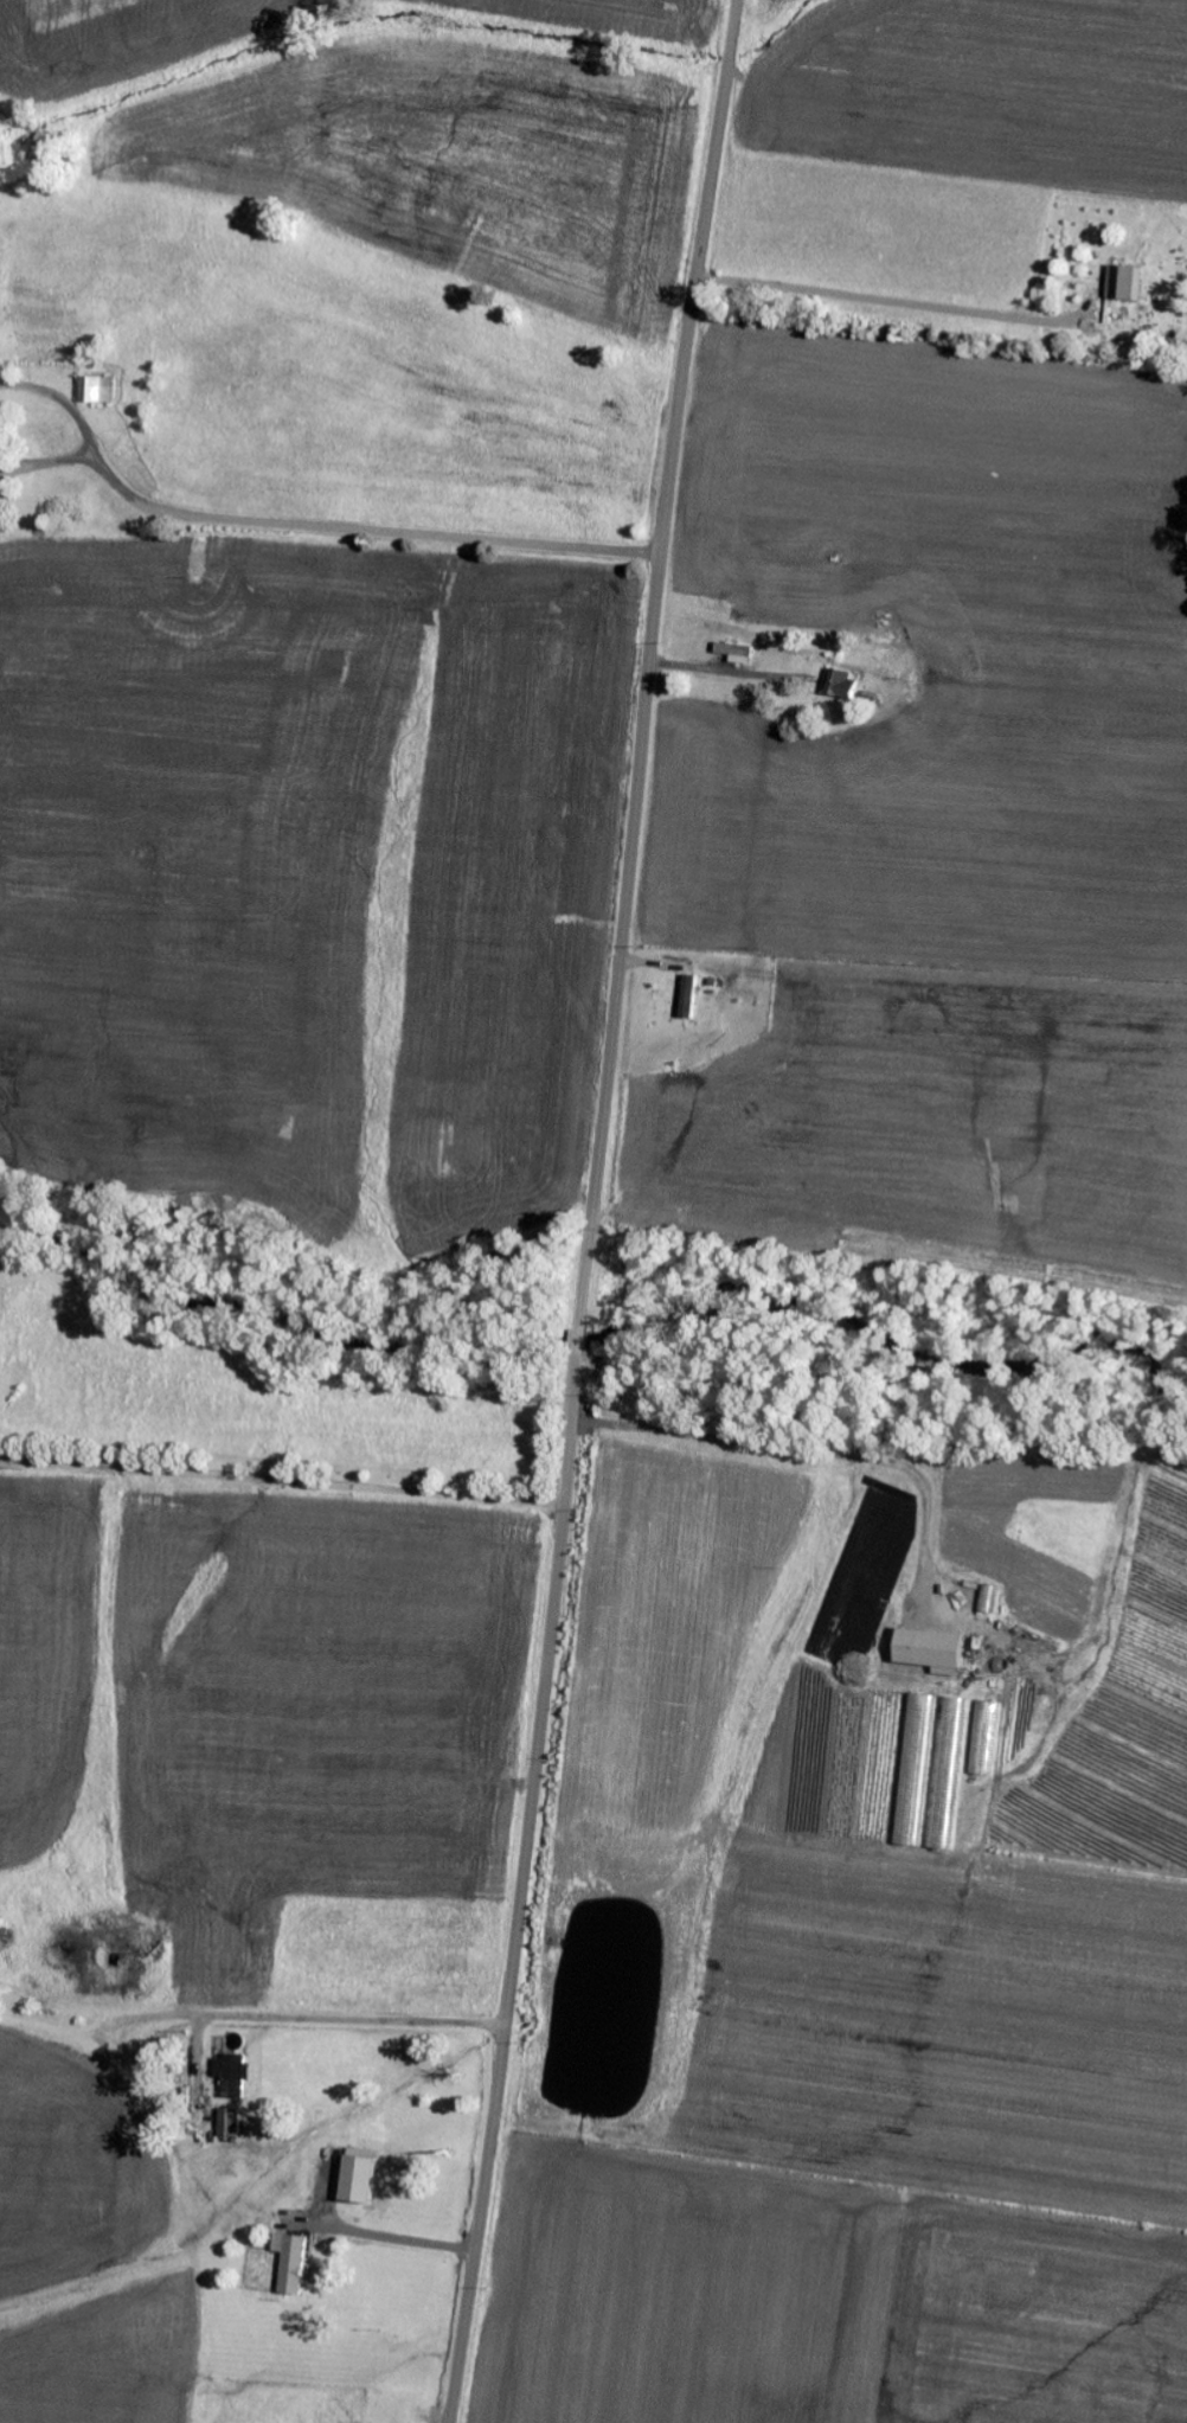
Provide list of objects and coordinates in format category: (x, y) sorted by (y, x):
building: (1118, 282)
building: (94, 390)
building: (733, 653)
building: (686, 996)
road: (590, 1211)
building: (947, 1775)
building: (229, 2073)
building: (227, 2123)
building: (358, 2175)
road: (387, 2245)
building: (288, 2262)

